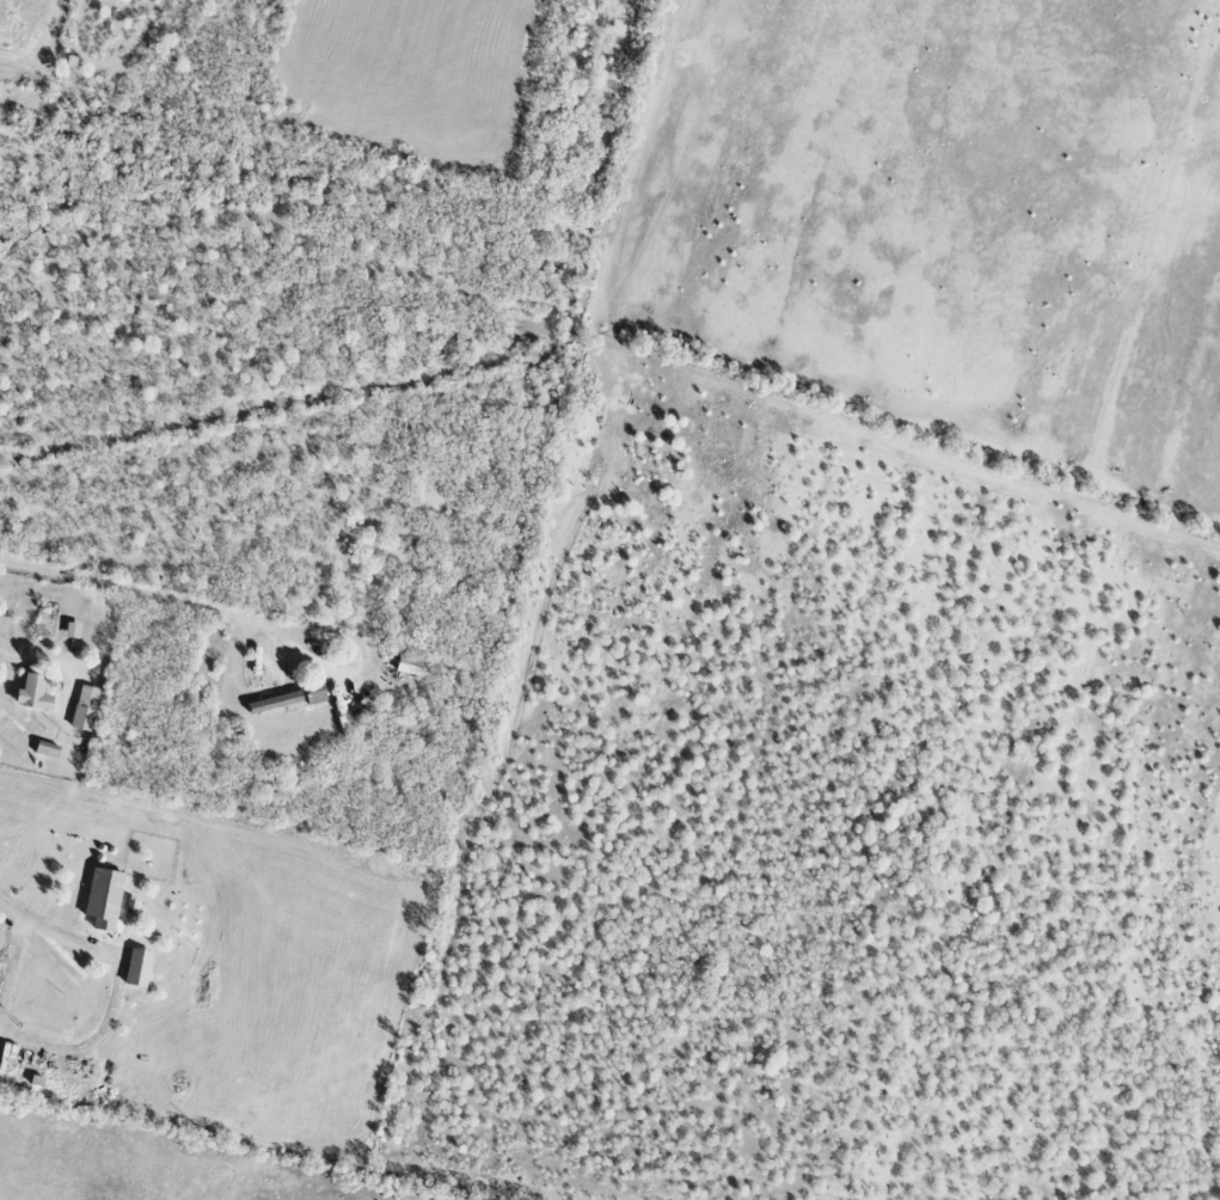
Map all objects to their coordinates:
road: (140, 592)
road: (8, 655)
building: (410, 665)
building: (314, 692)
building: (32, 694)
building: (275, 703)
building: (84, 709)
building: (103, 900)
road: (48, 926)
building: (136, 968)

